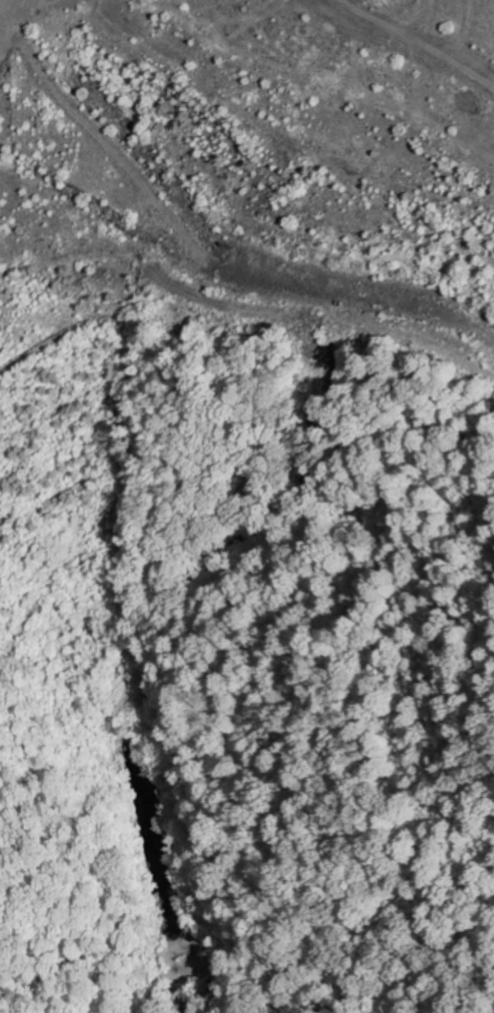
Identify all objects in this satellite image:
road: (153, 886)

